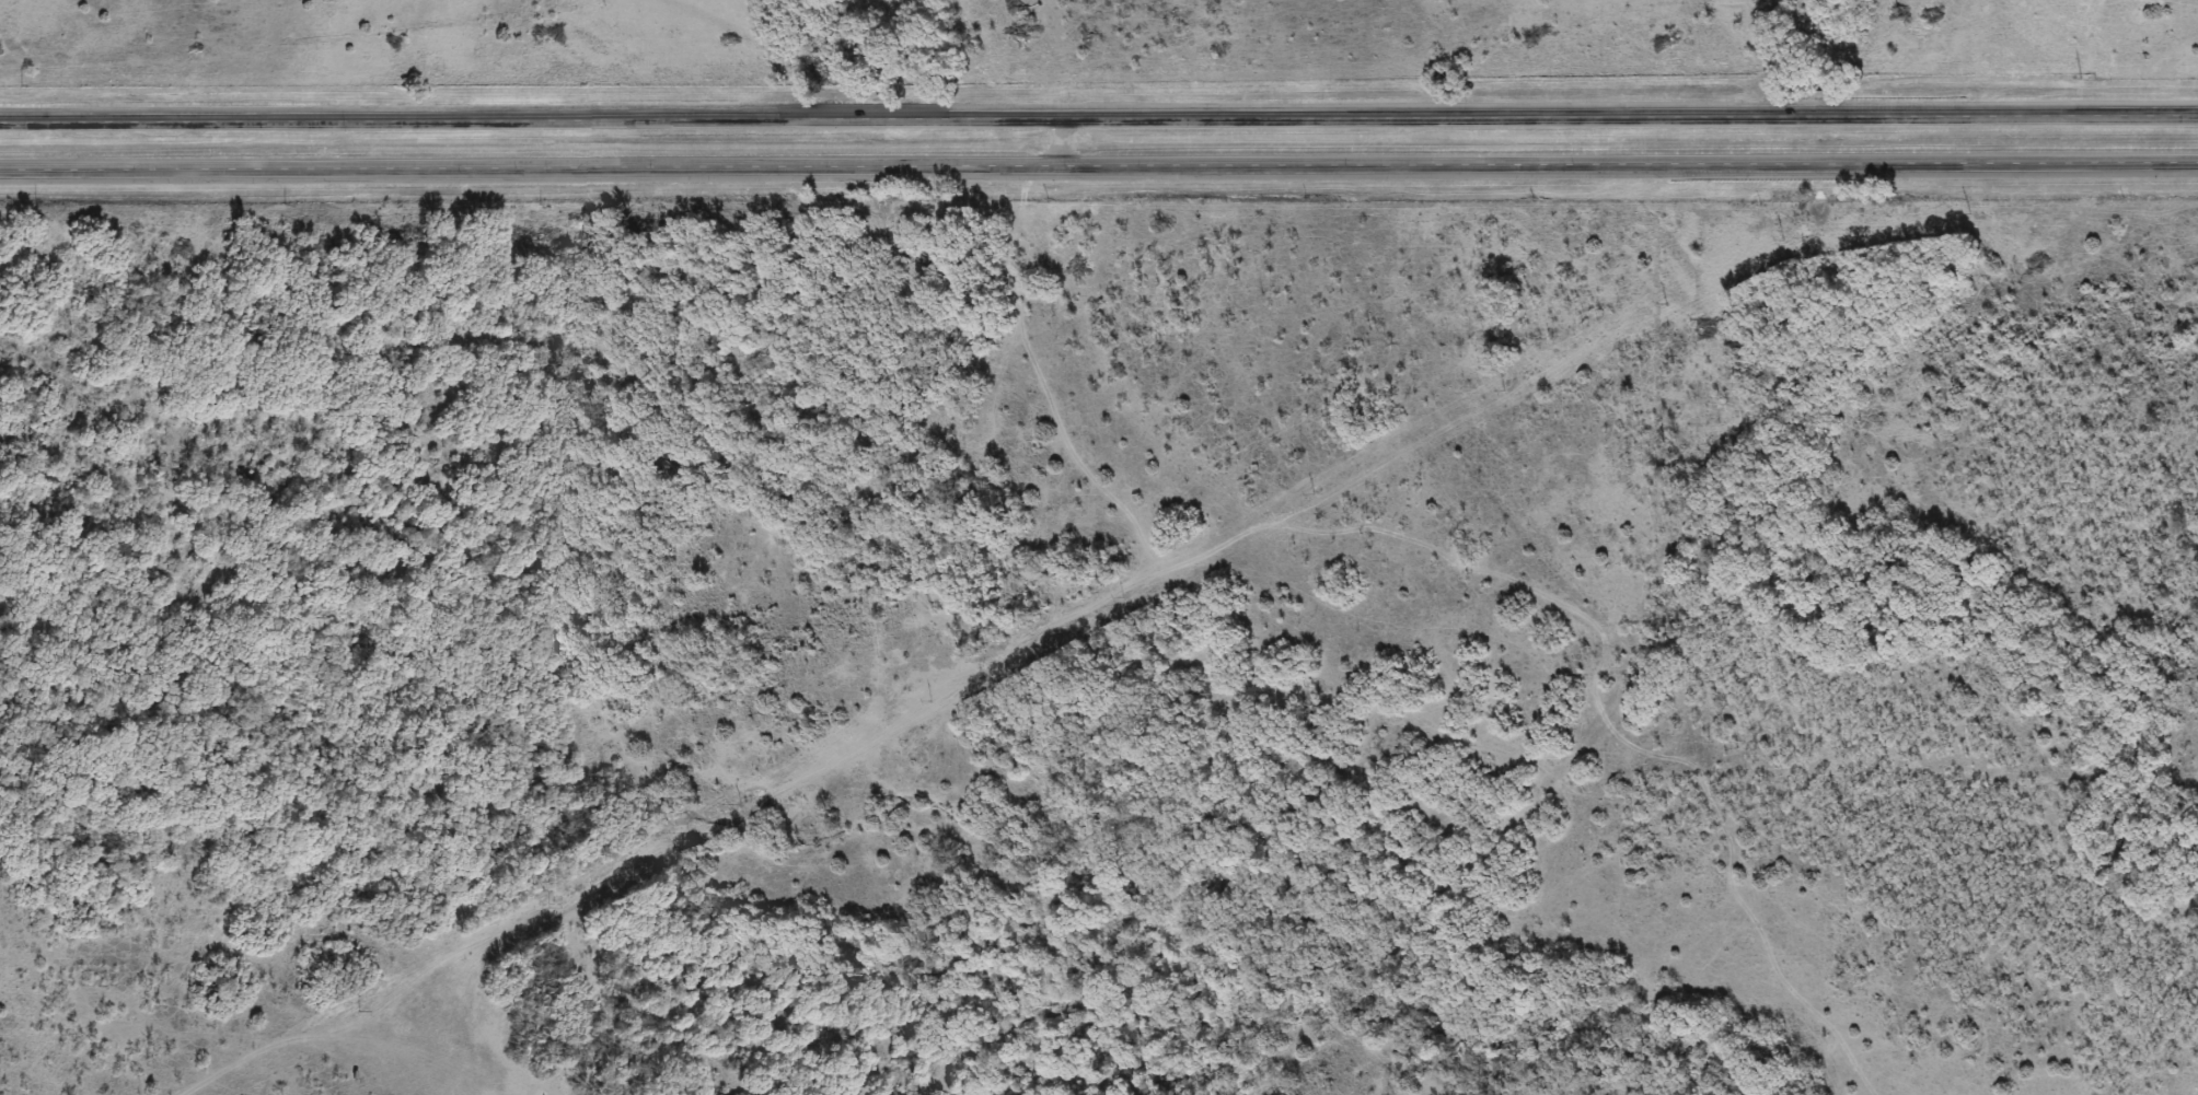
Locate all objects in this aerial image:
road: (1099, 125)
road: (1099, 171)

